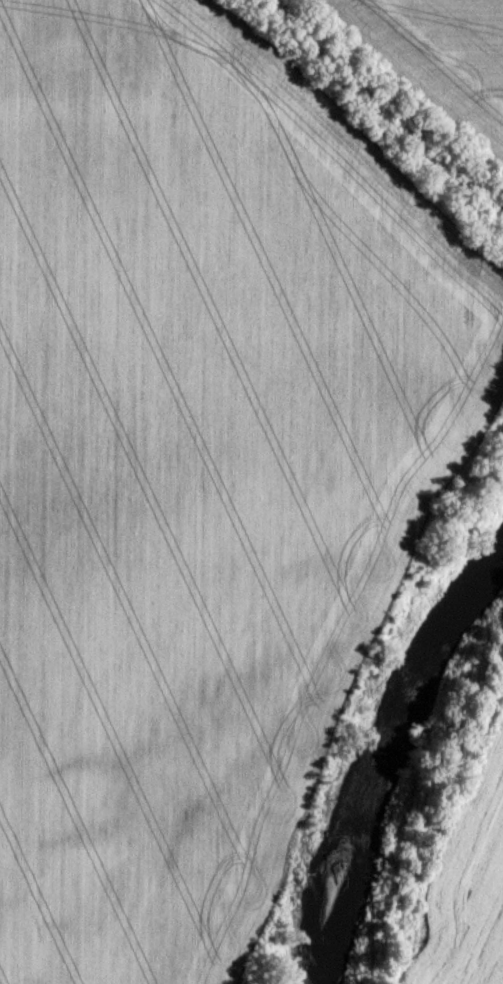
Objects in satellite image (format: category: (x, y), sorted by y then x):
river: (397, 758)

